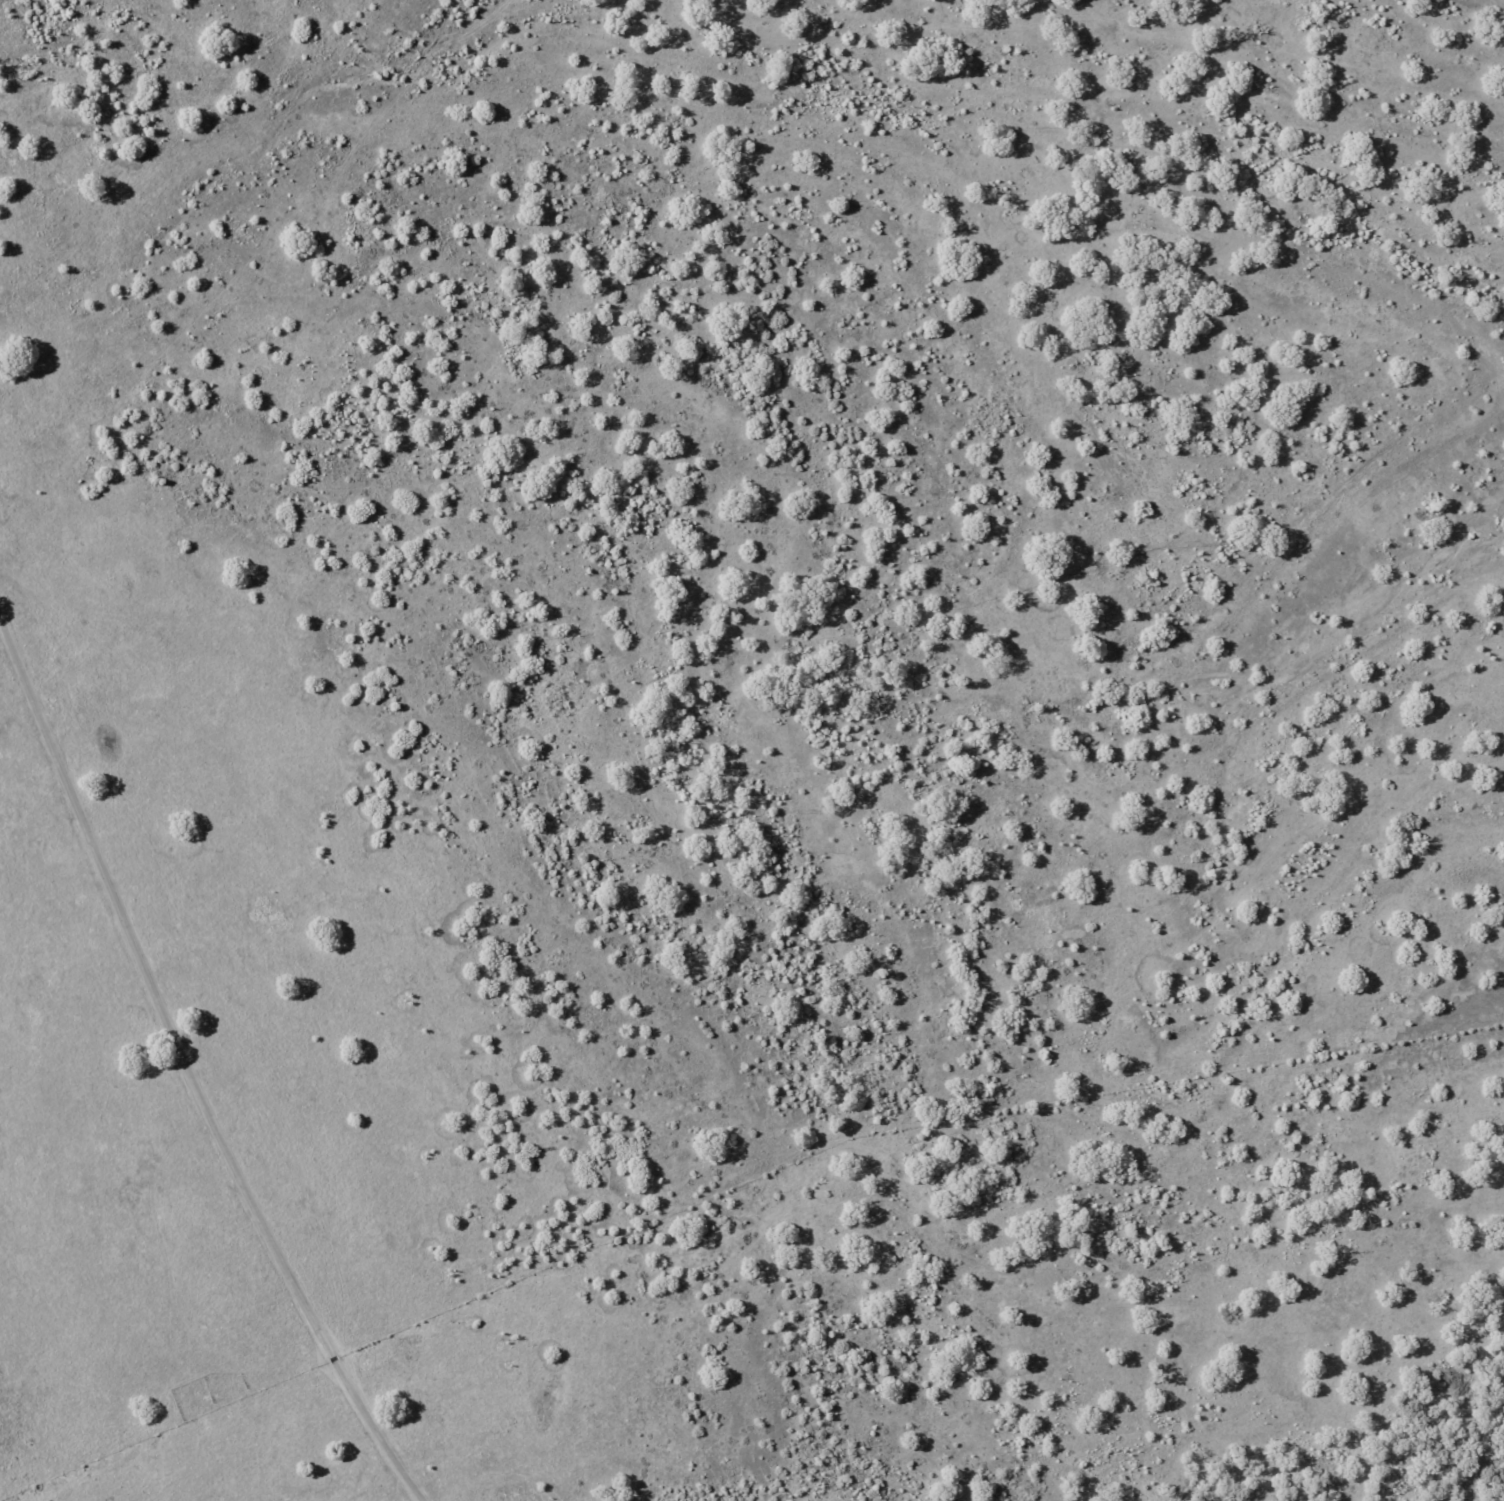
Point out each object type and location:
road: (202, 1075)

